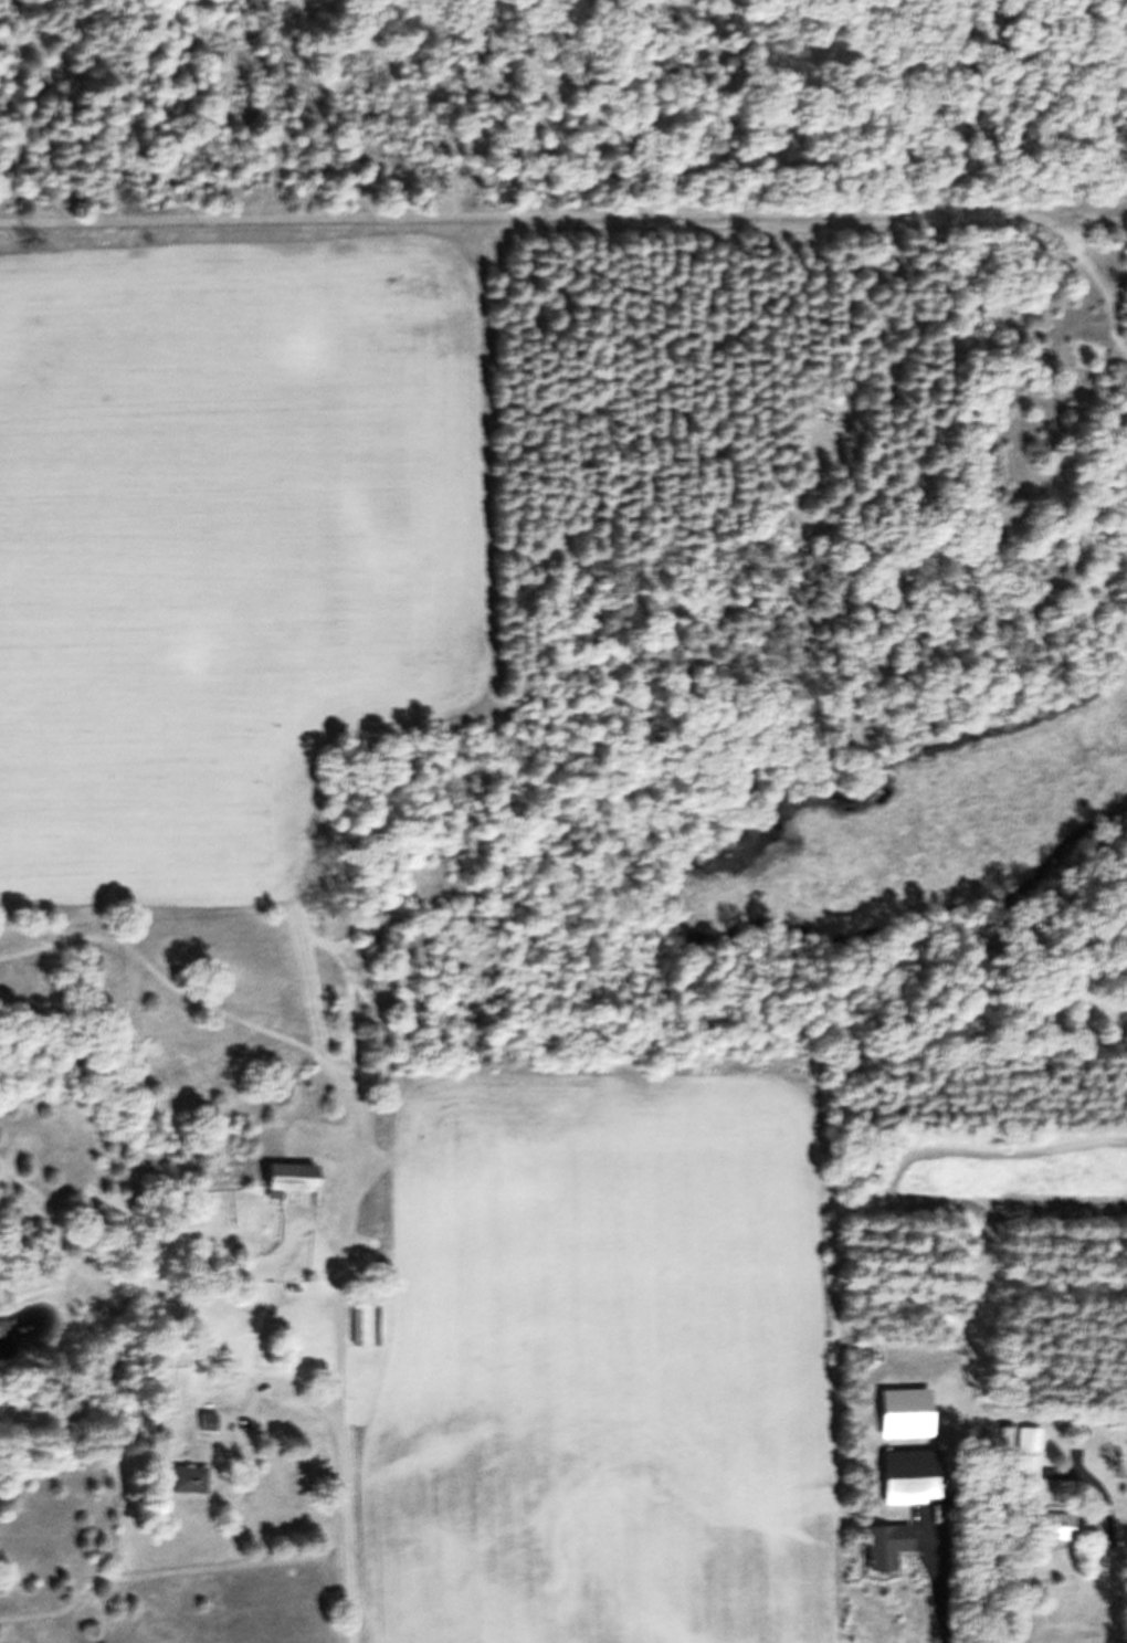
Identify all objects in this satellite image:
building: (302, 1189)
building: (371, 1339)
building: (211, 1433)
building: (1031, 1462)
road: (346, 1470)
building: (919, 1488)
building: (193, 1491)
building: (1062, 1535)
road: (1107, 1538)
building: (896, 1557)
road: (933, 1586)

